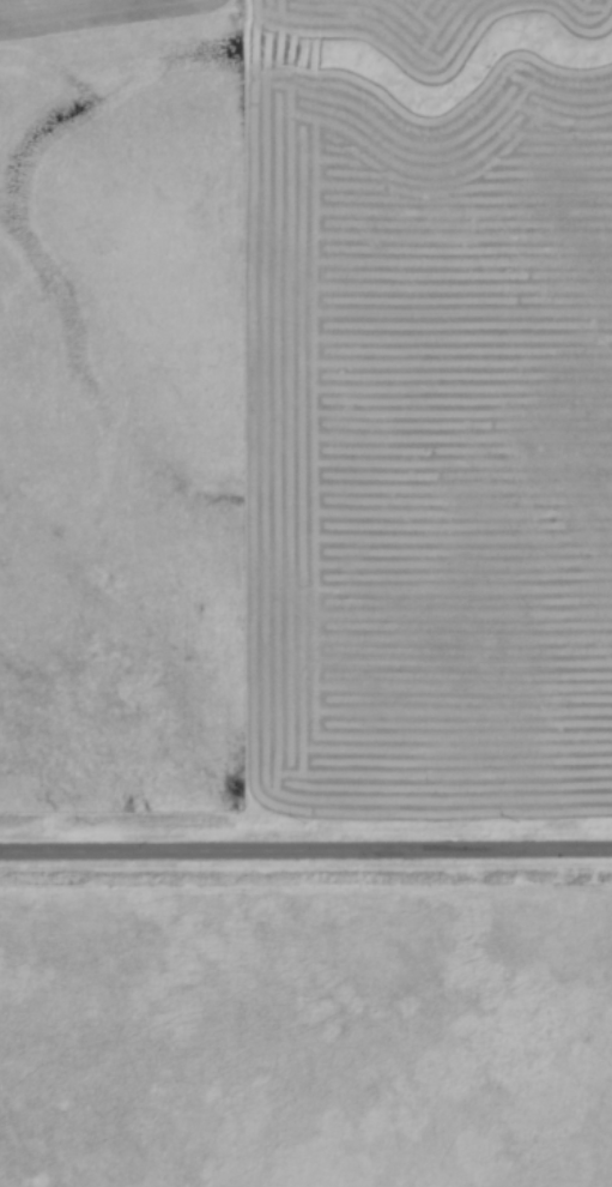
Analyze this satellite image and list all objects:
road: (305, 857)

